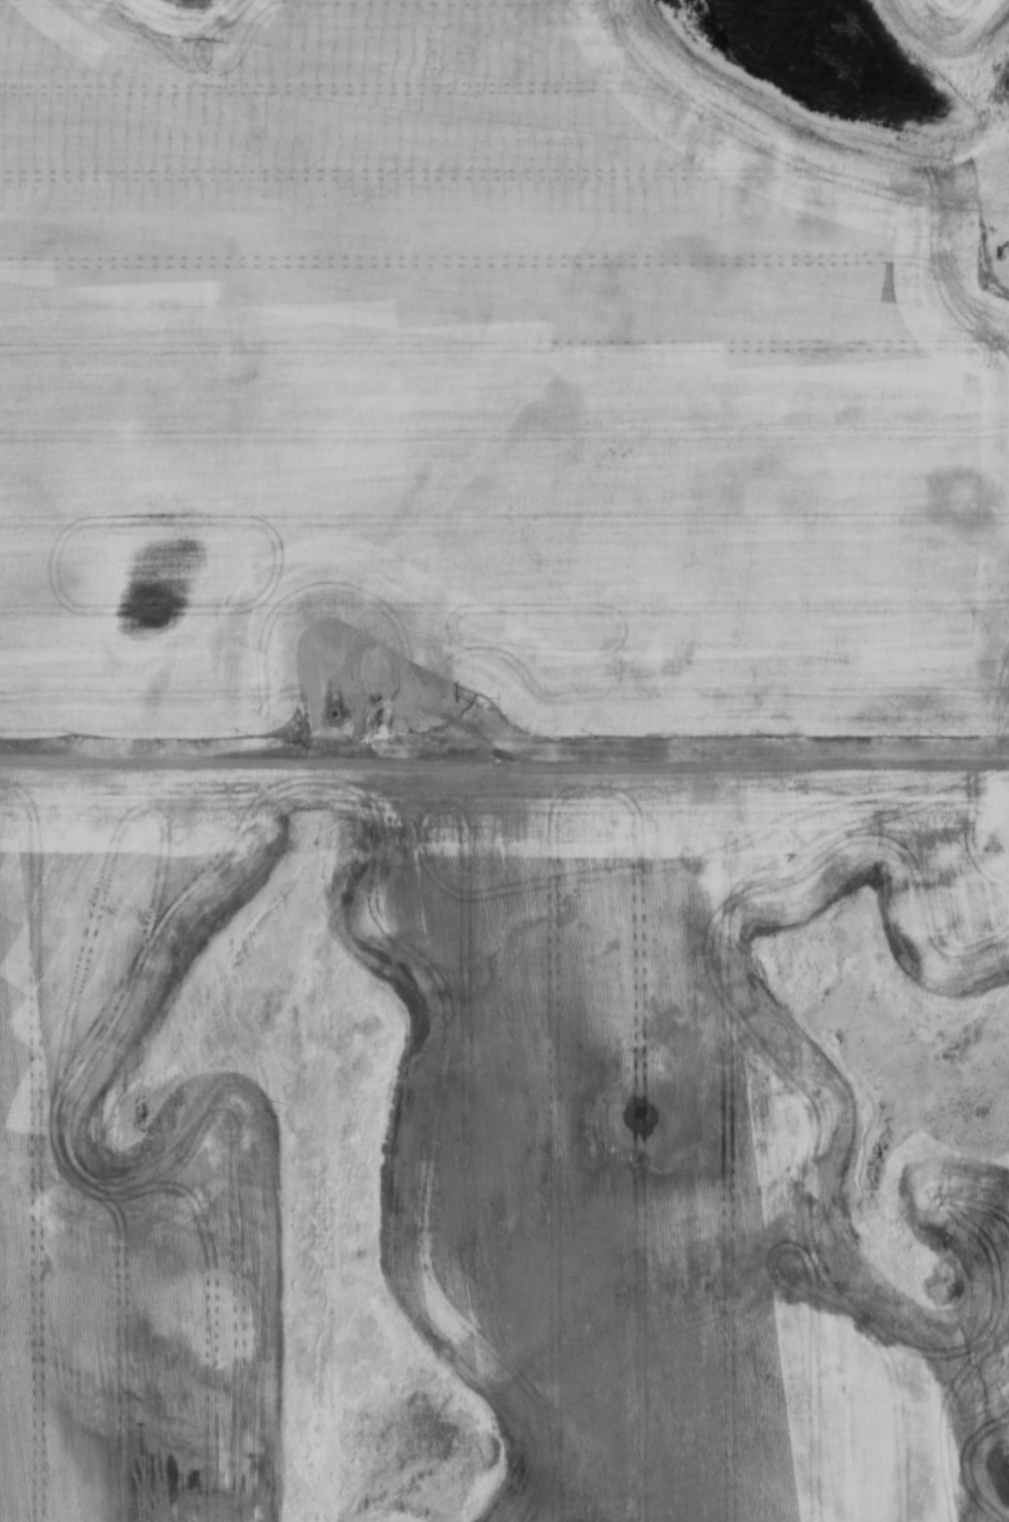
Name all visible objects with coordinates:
road: (504, 766)

